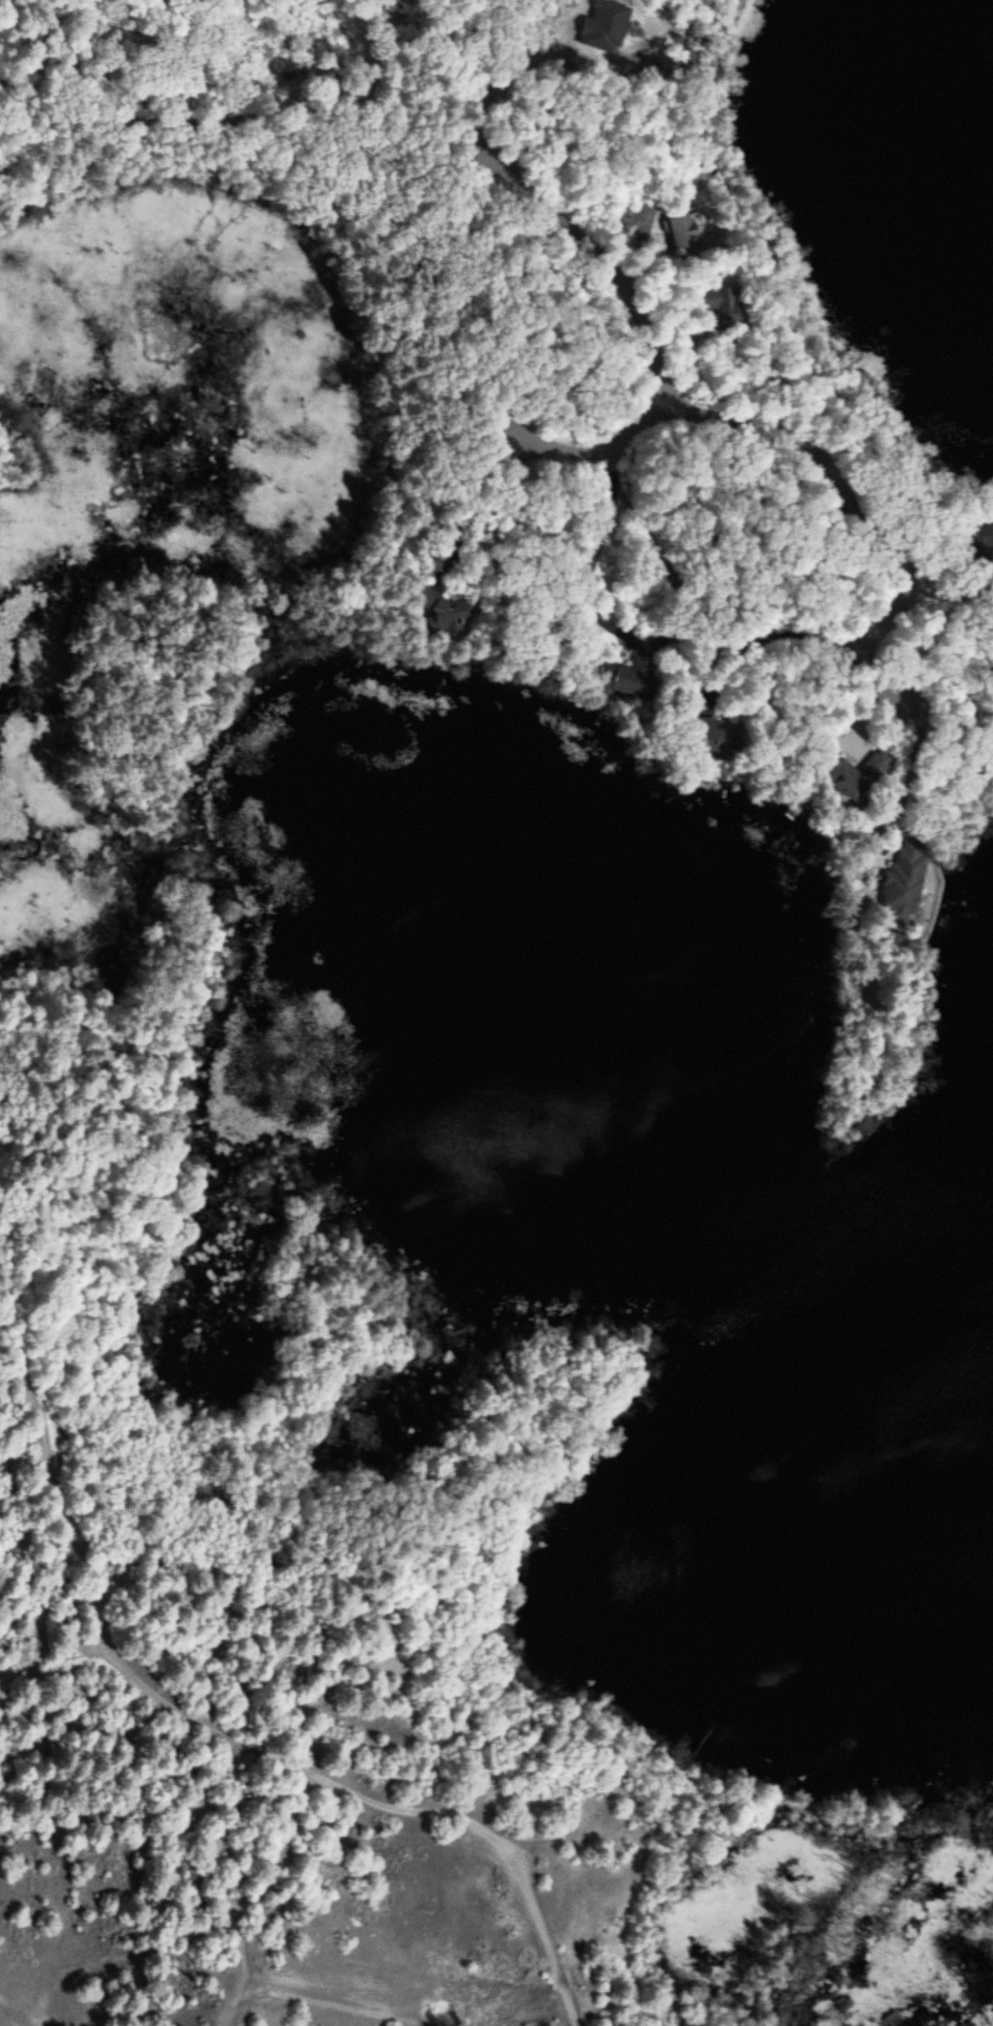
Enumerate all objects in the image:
road: (244, 104)
road: (711, 416)
road: (599, 447)
building: (984, 544)
building: (436, 619)
road: (869, 640)
building: (618, 685)
building: (702, 738)
building: (840, 779)
building: (895, 890)
road: (197, 1729)

